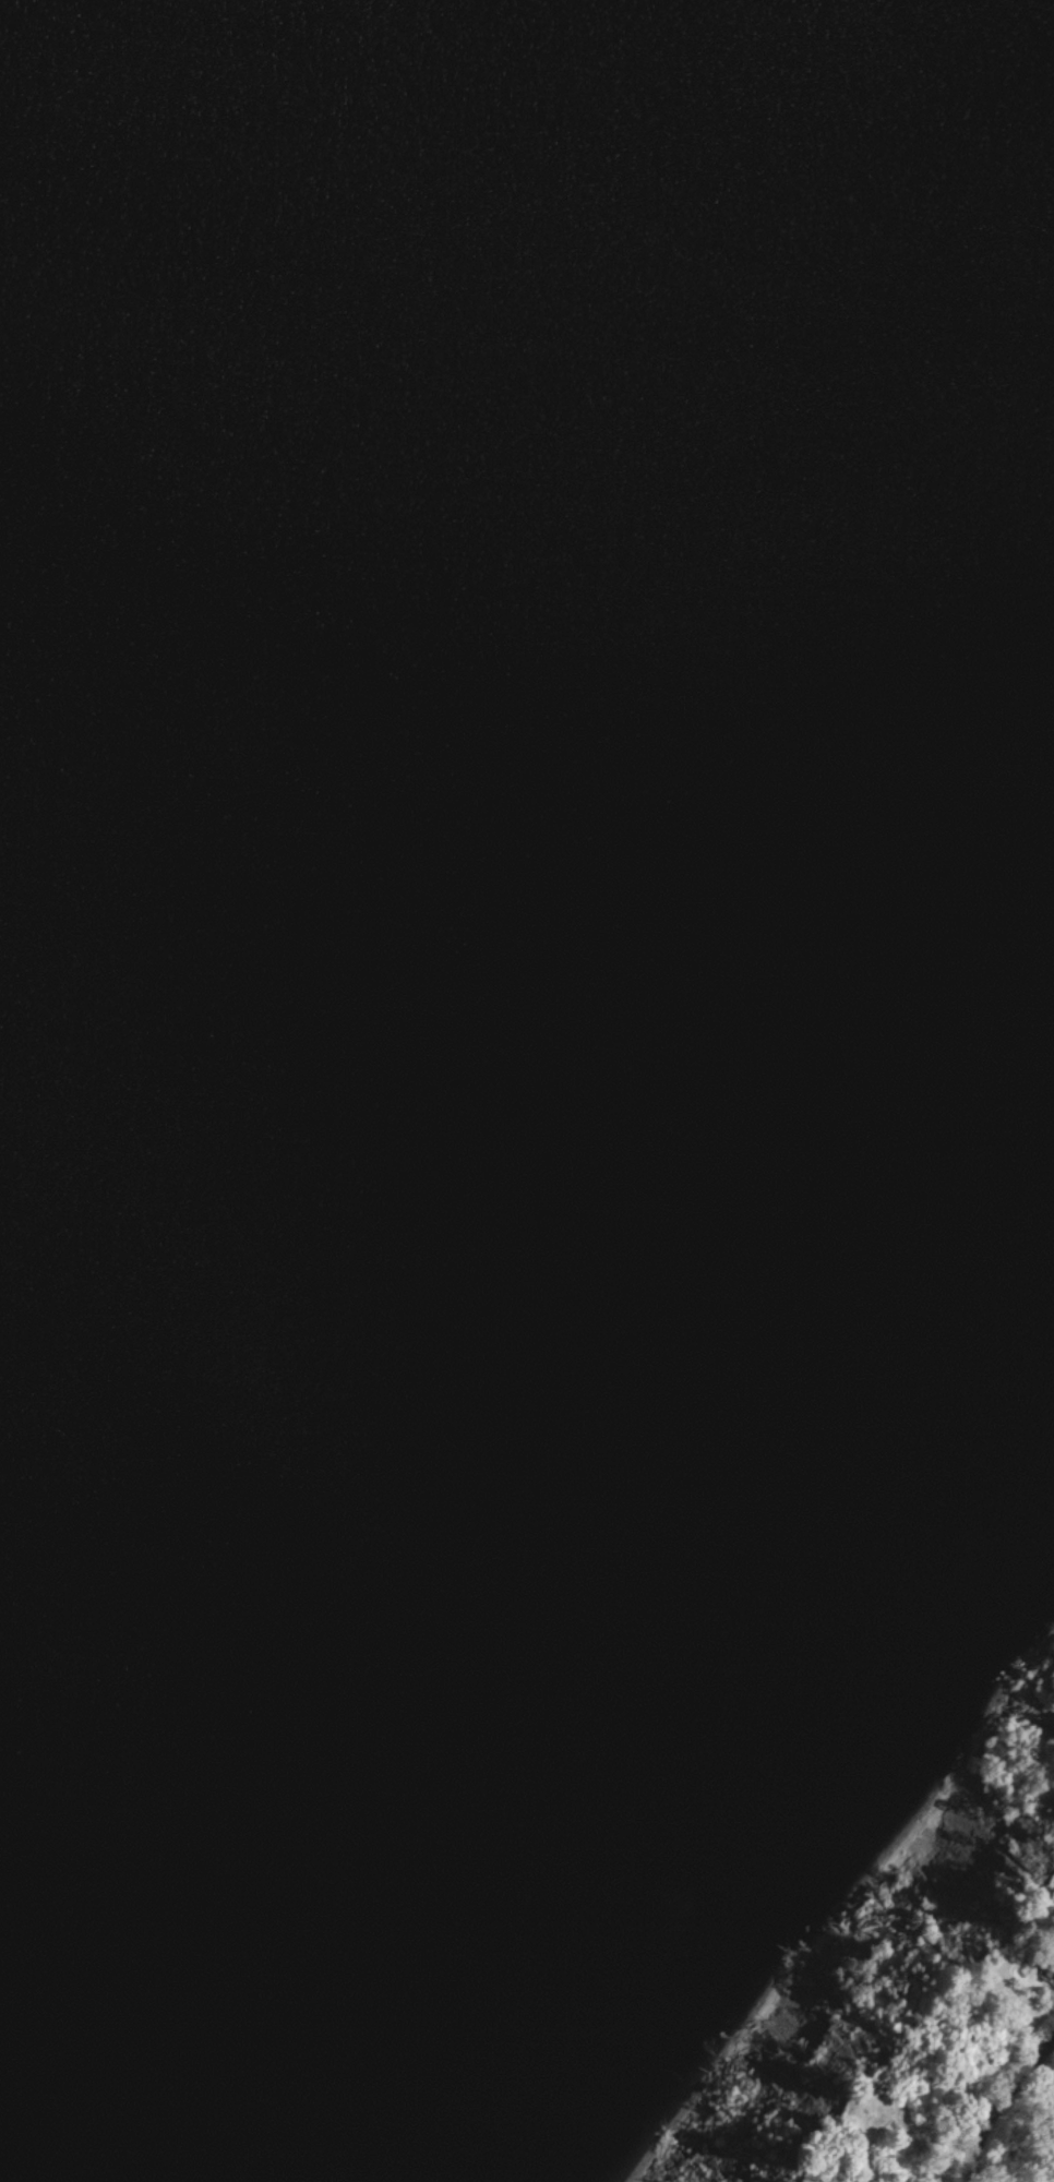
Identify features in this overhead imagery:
building: (1051, 1975)
road: (999, 2103)

